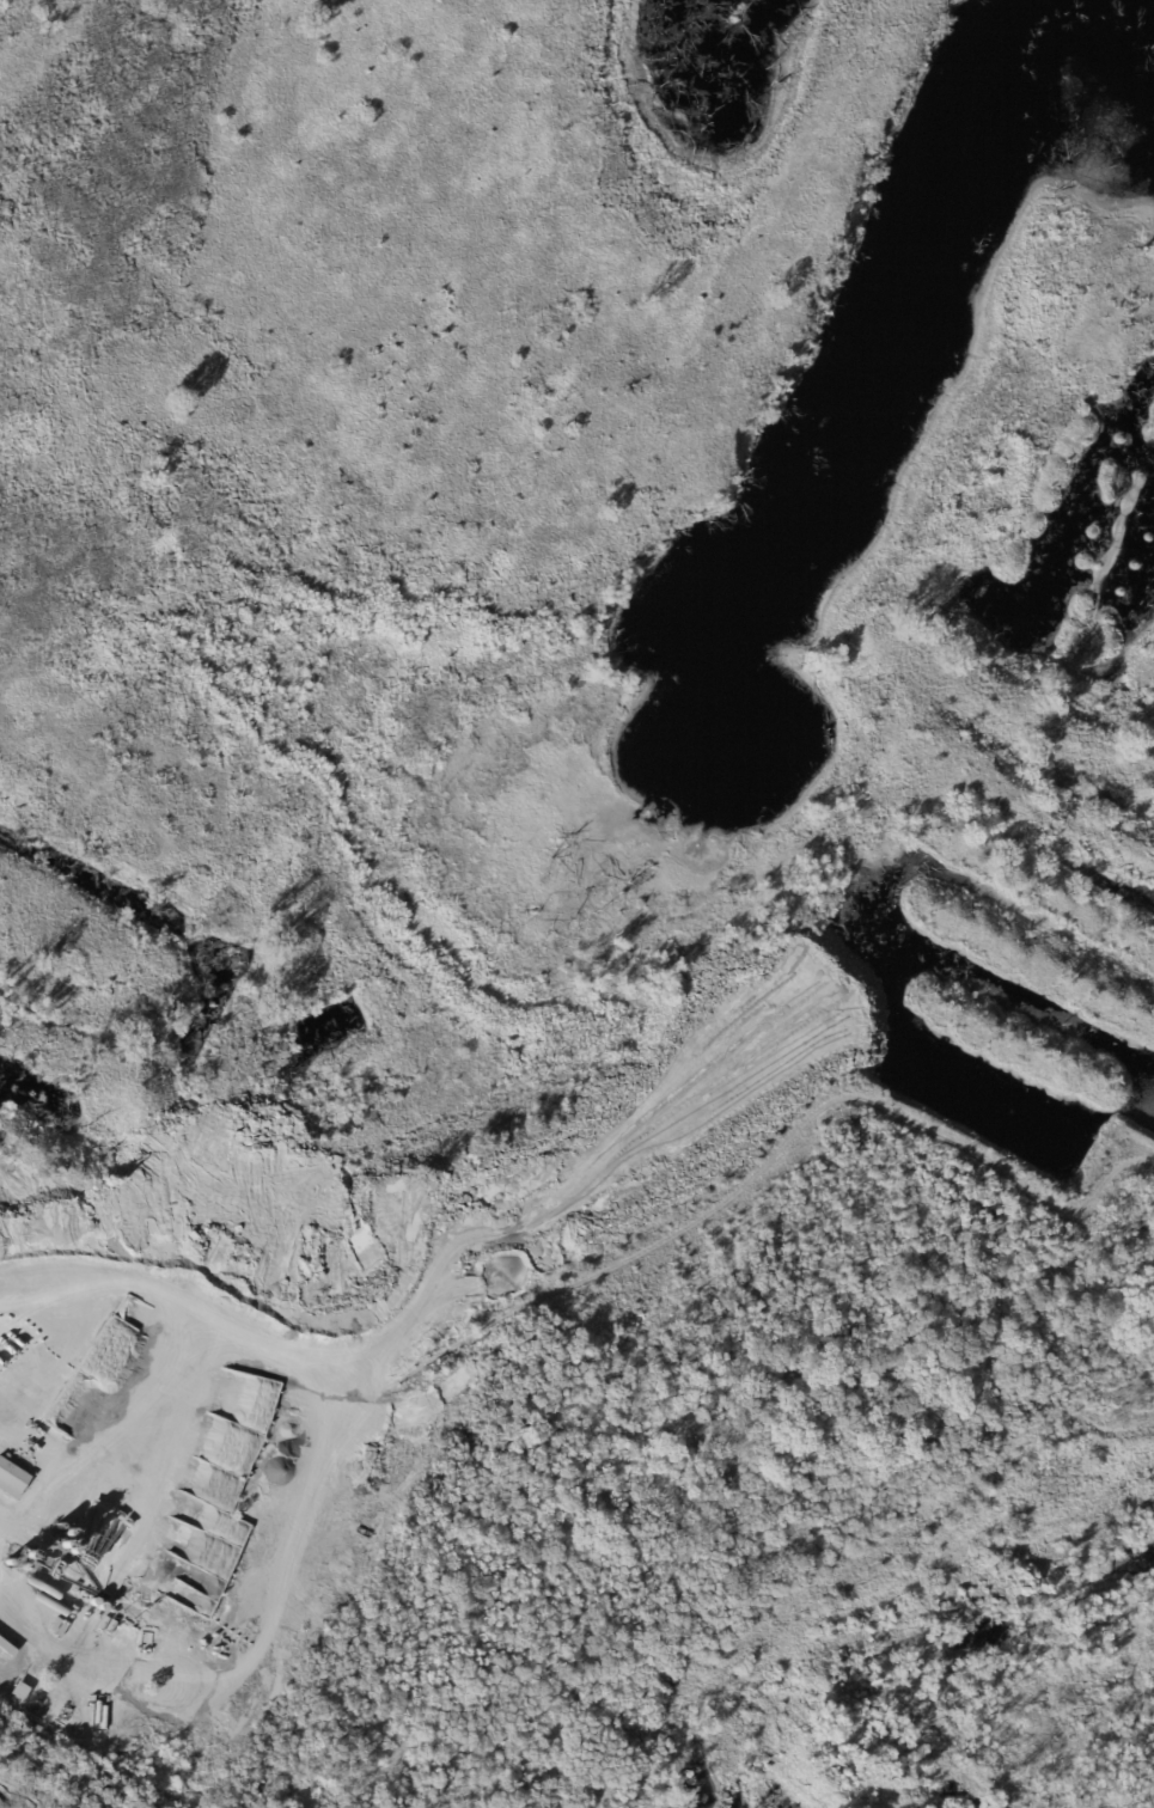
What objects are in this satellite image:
building: (12, 1479)
building: (7, 1649)

